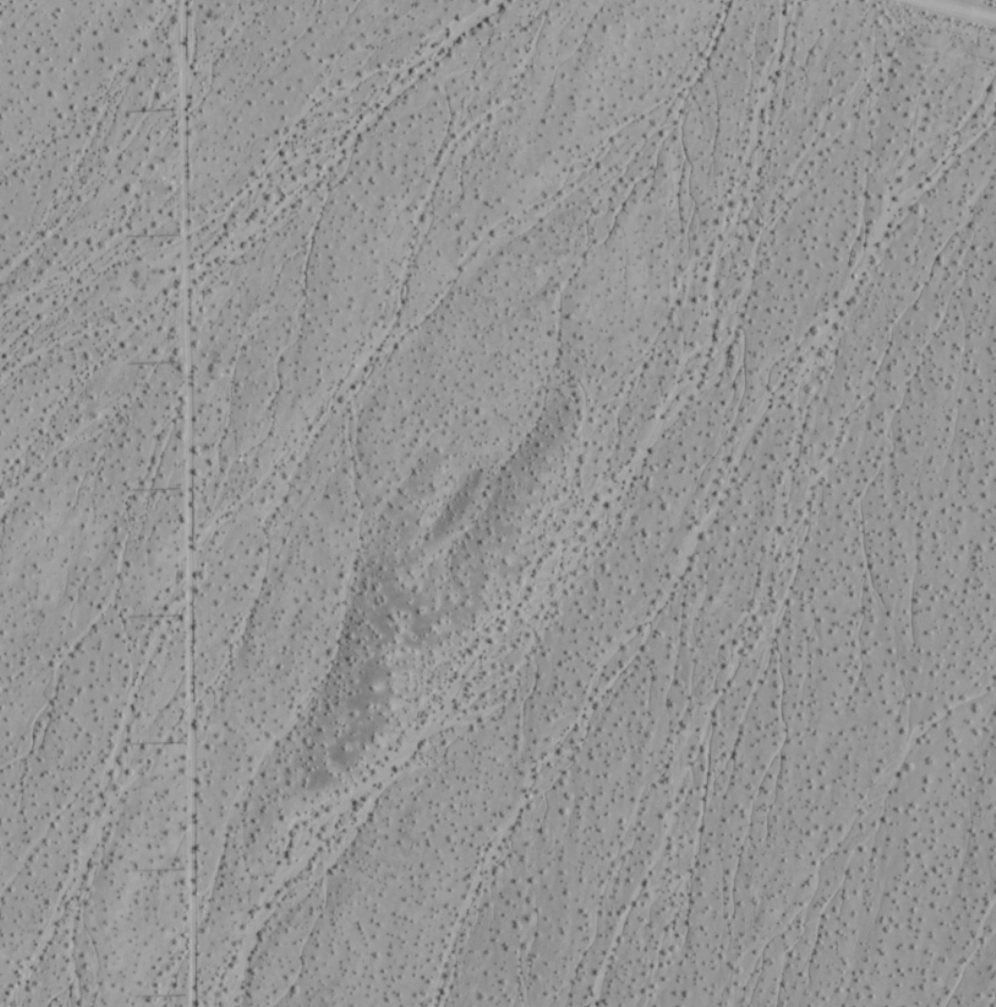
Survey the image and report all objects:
road: (982, 3)

